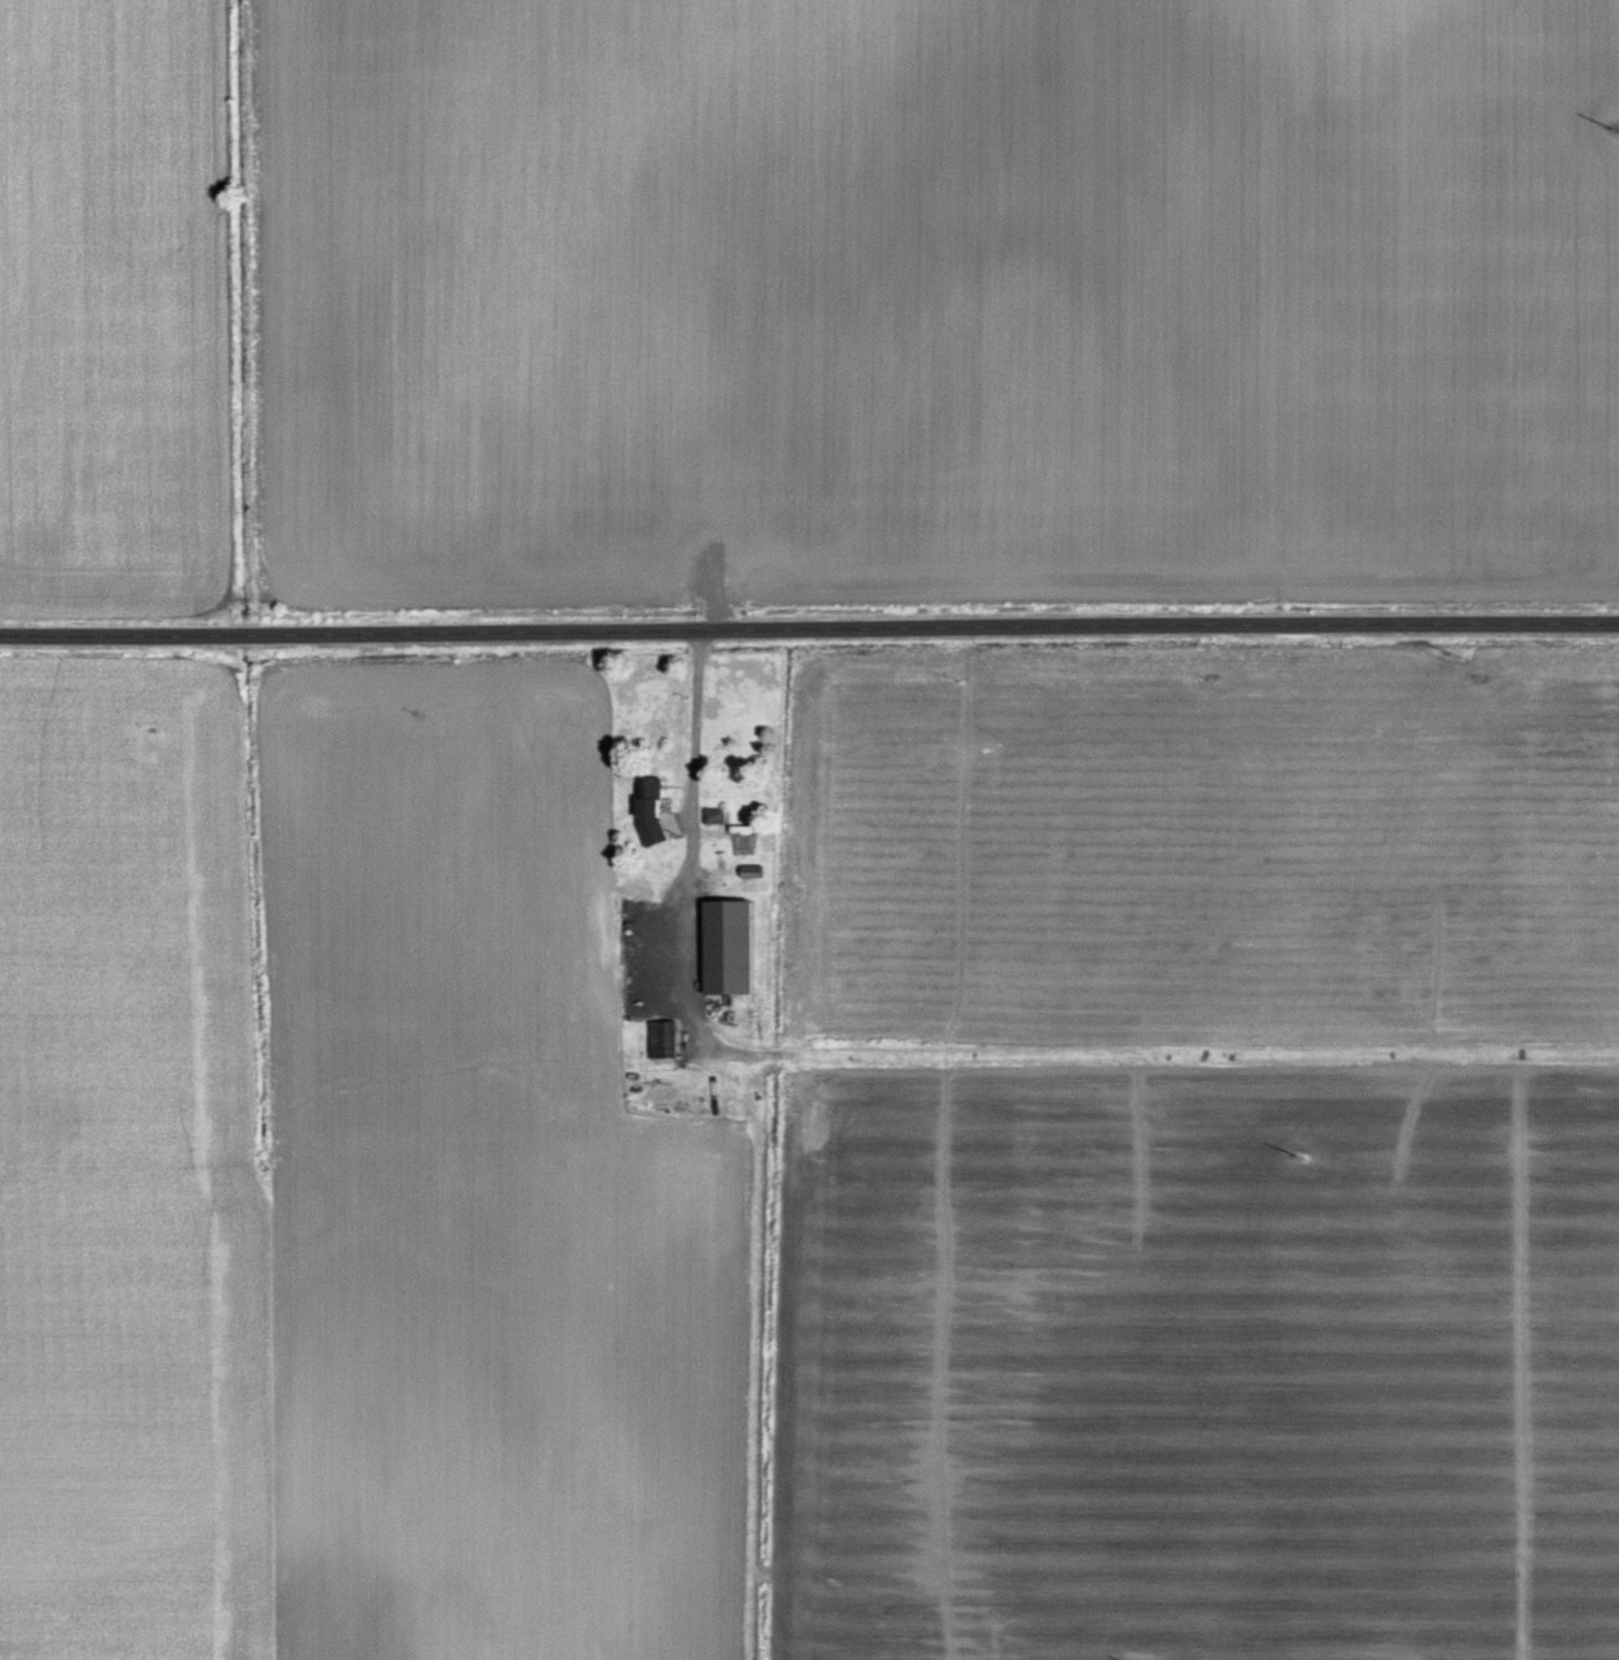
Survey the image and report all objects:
power tower: (1618, 130)
road: (809, 630)
power tower: (1455, 653)
road: (694, 758)
building: (648, 798)
building: (714, 817)
building: (750, 873)
building: (631, 882)
building: (708, 914)
building: (693, 941)
building: (649, 1010)
building: (665, 1042)
power tower: (1302, 1159)

